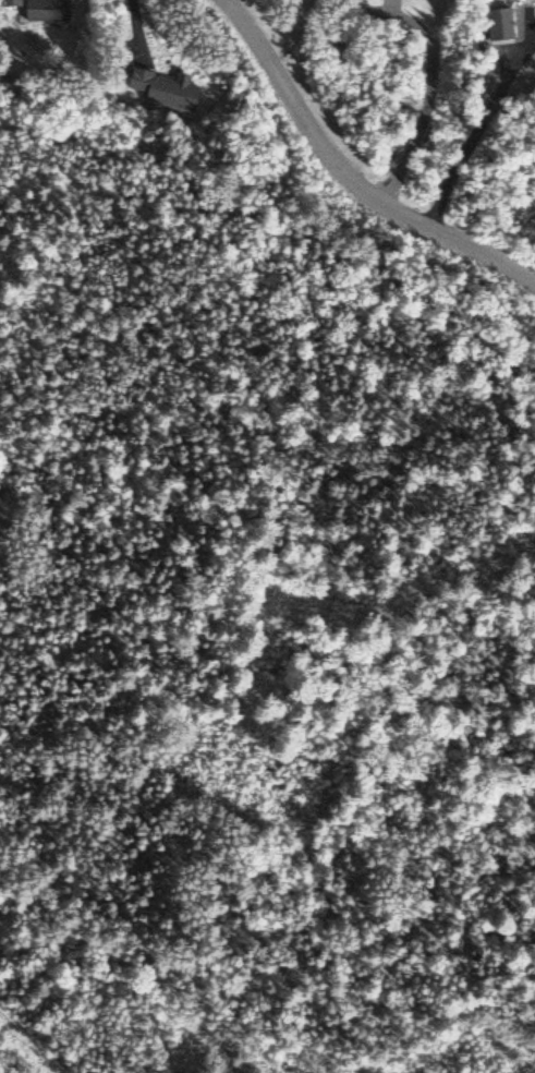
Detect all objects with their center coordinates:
building: (11, 1)
building: (48, 9)
building: (500, 21)
building: (163, 86)
road: (352, 172)

